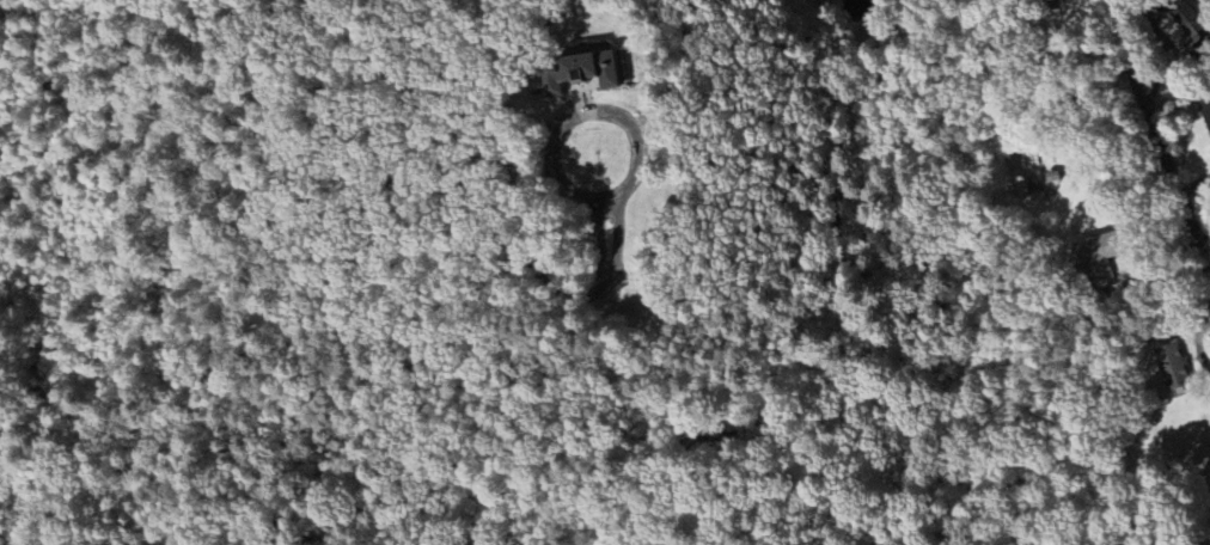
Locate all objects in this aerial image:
building: (1053, 5)
building: (1190, 19)
building: (580, 72)
building: (1205, 110)
road: (1156, 139)
building: (1174, 366)

